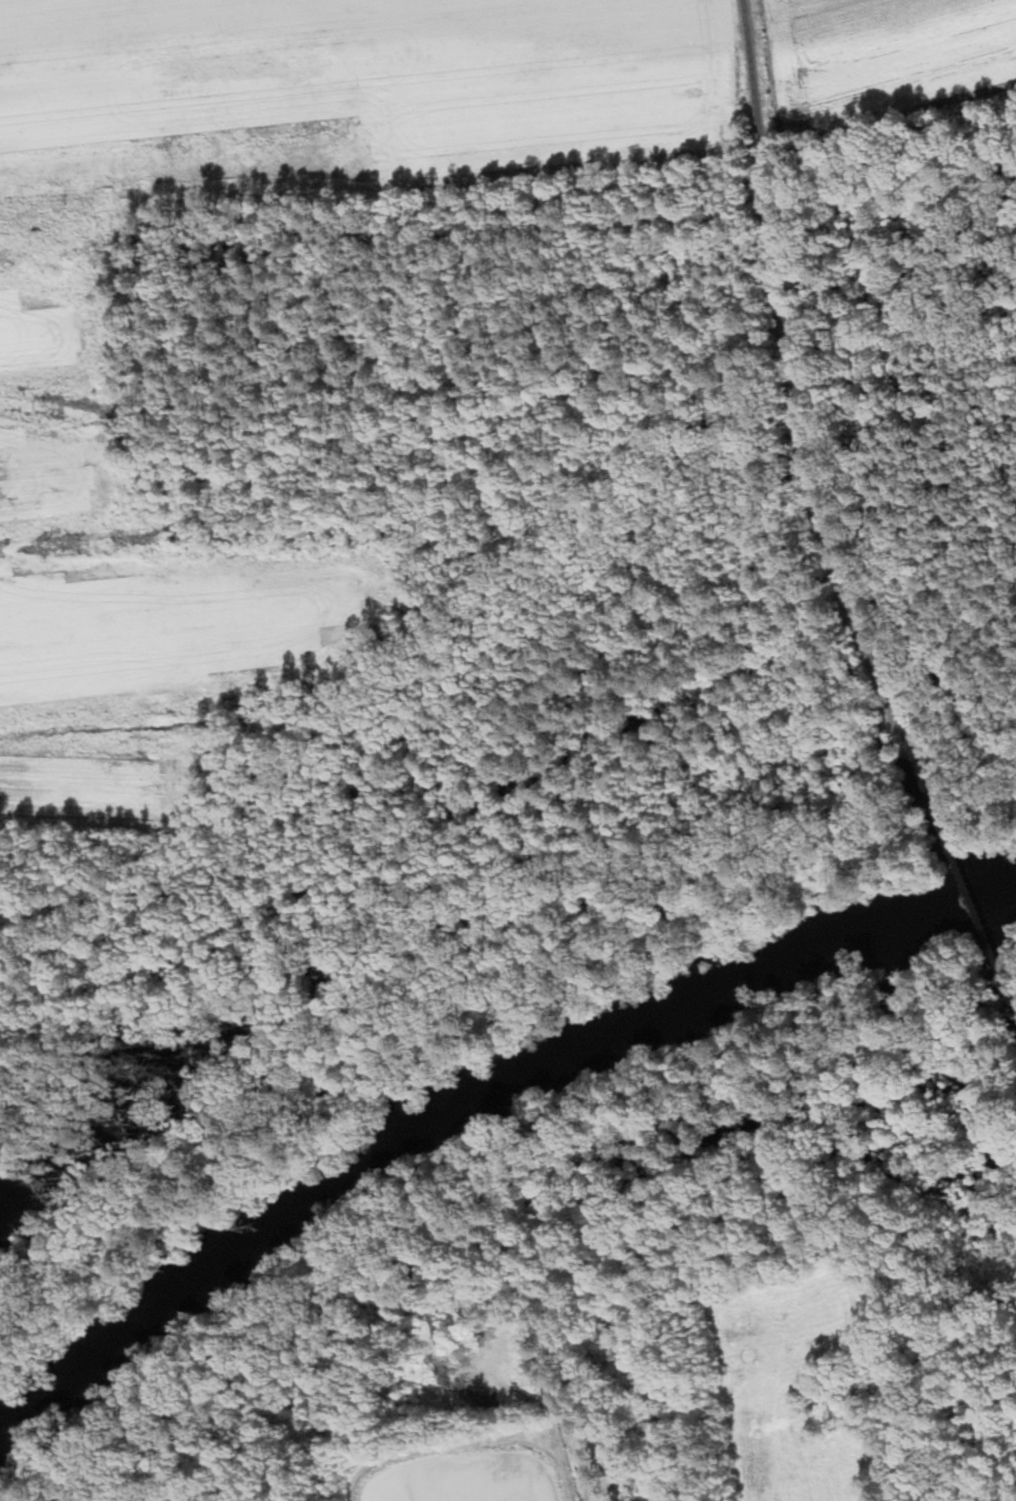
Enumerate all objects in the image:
railway: (807, 427)
river: (962, 894)
railway: (975, 896)
river: (868, 935)
railway: (1008, 974)
river: (392, 1138)
river: (7, 1427)
road: (584, 1449)

